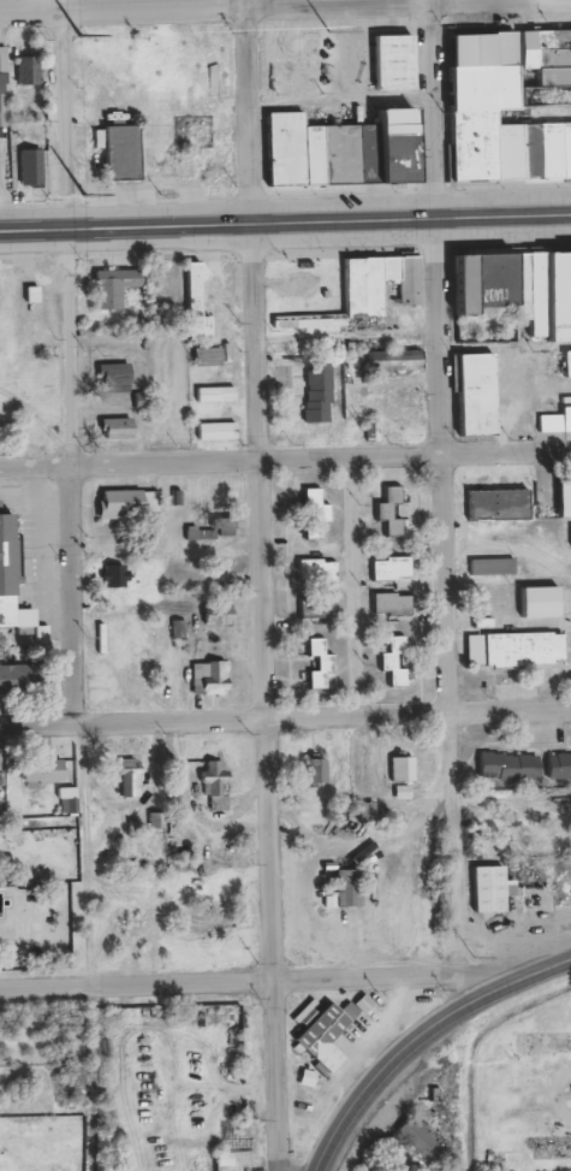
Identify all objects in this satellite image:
road: (61, 2)
road: (147, 4)
building: (397, 61)
building: (31, 69)
building: (0, 82)
building: (512, 106)
road: (436, 108)
road: (250, 111)
road: (64, 117)
building: (347, 148)
building: (126, 152)
building: (34, 166)
road: (285, 221)
building: (408, 274)
building: (117, 285)
building: (368, 285)
building: (522, 286)
building: (201, 302)
building: (210, 356)
building: (398, 359)
building: (569, 363)
building: (118, 377)
building: (321, 392)
building: (481, 392)
building: (218, 394)
building: (145, 402)
building: (557, 421)
building: (119, 427)
building: (218, 430)
road: (285, 461)
building: (566, 497)
building: (221, 498)
building: (131, 503)
building: (500, 504)
building: (319, 507)
building: (391, 510)
building: (228, 526)
building: (203, 533)
building: (494, 564)
building: (393, 567)
building: (319, 569)
building: (118, 575)
building: (12, 578)
road: (450, 593)
building: (320, 603)
building: (393, 603)
road: (73, 607)
building: (221, 614)
building: (180, 628)
building: (515, 649)
building: (395, 660)
building: (321, 662)
building: (109, 668)
building: (25, 678)
building: (212, 678)
road: (266, 697)
road: (285, 723)
building: (1, 763)
building: (560, 764)
building: (511, 767)
building: (405, 769)
building: (319, 770)
building: (44, 771)
building: (132, 777)
building: (219, 782)
building: (70, 800)
building: (369, 811)
building: (154, 820)
building: (350, 887)
building: (493, 888)
building: (126, 895)
building: (212, 921)
road: (261, 982)
building: (325, 1034)
road: (421, 1036)
building: (418, 1136)

